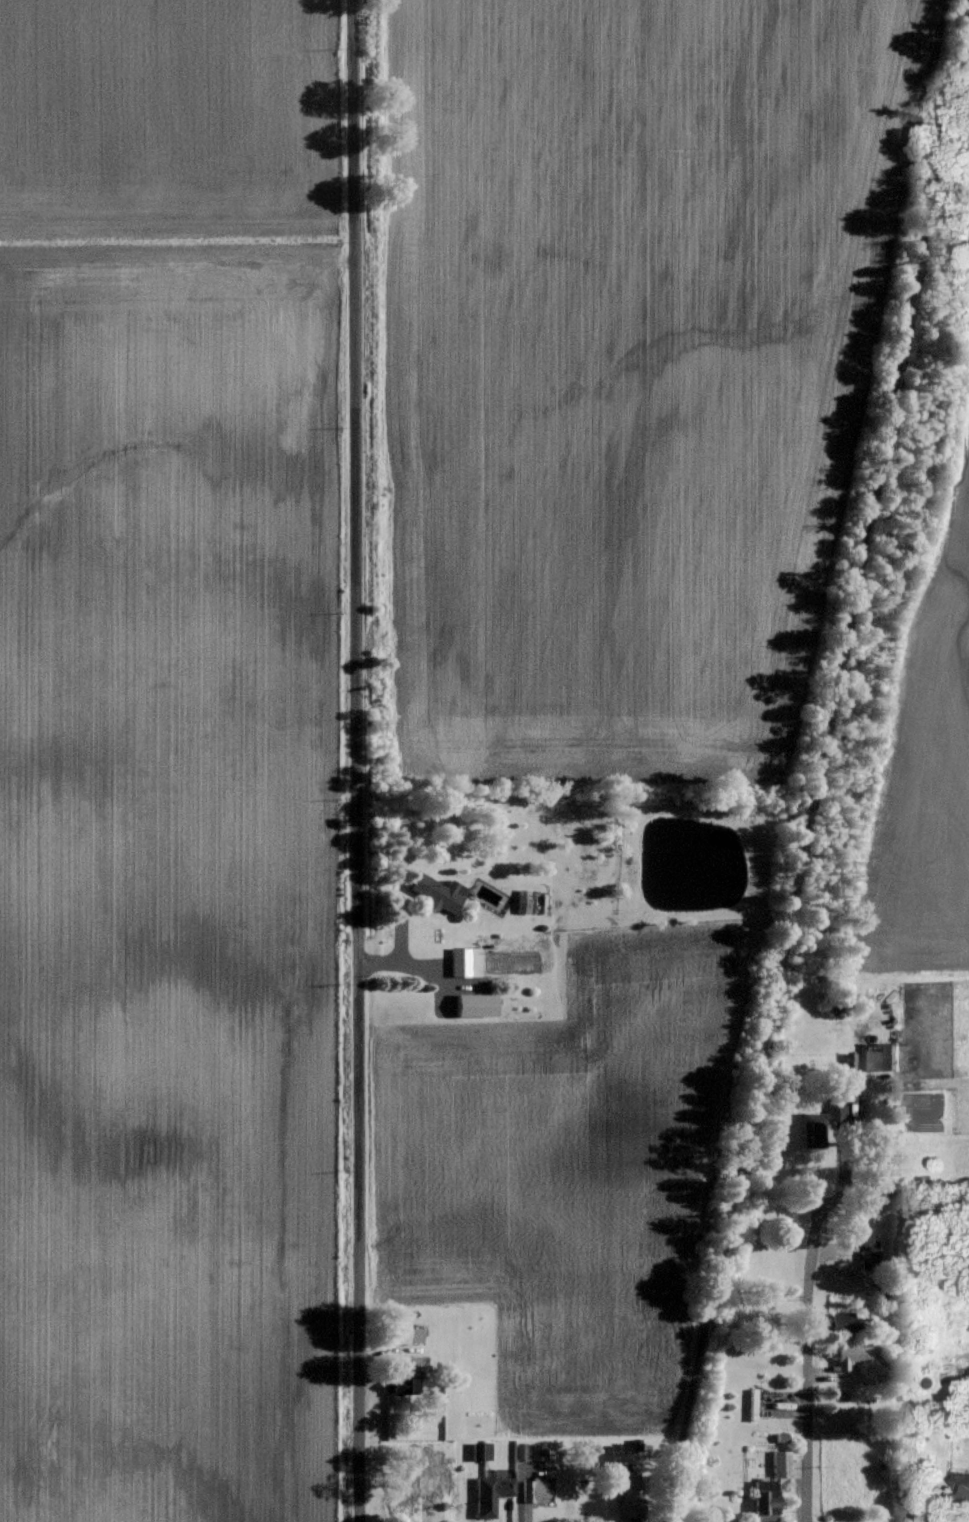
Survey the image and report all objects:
crop: (628, 365)
road: (354, 760)
crop: (174, 766)
crop: (927, 768)
road: (817, 769)
building: (443, 892)
building: (528, 900)
building: (468, 960)
building: (479, 1004)
building: (853, 1060)
building: (826, 1123)
road: (843, 1163)
building: (872, 1259)
building: (846, 1322)
building: (859, 1354)
road: (806, 1356)
building: (405, 1386)
building: (784, 1436)
building: (483, 1450)
building: (523, 1451)
building: (540, 1451)
building: (784, 1463)
building: (433, 1483)
building: (966, 1484)
building: (541, 1489)
building: (494, 1492)
building: (769, 1500)

